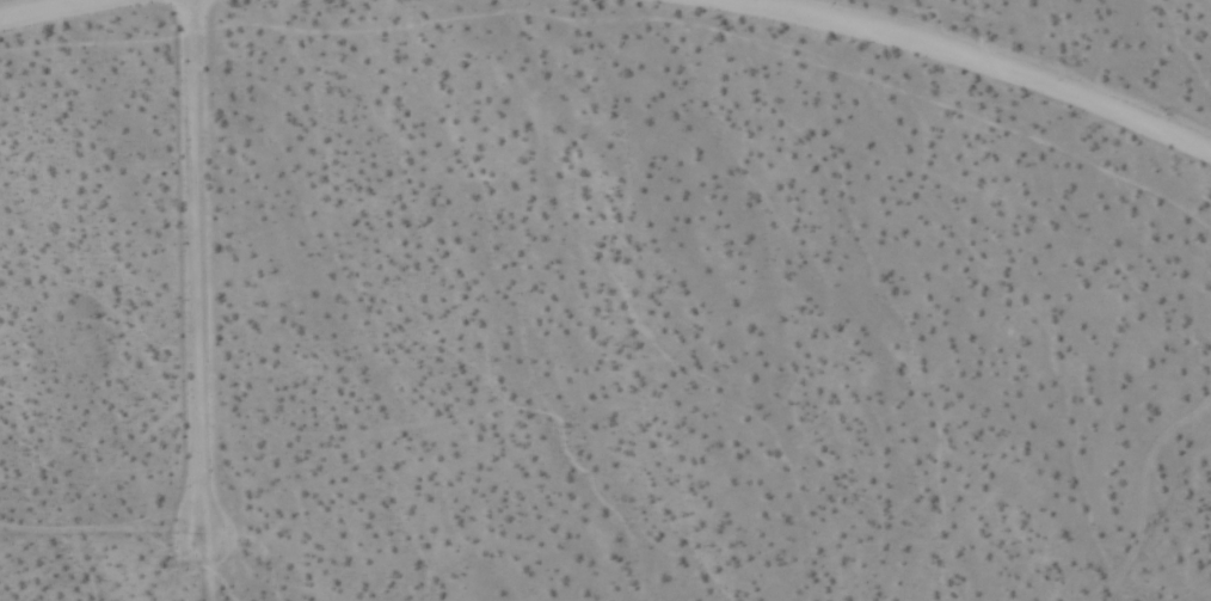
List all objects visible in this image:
road: (72, 10)
road: (943, 55)
road: (196, 284)
crop: (605, 300)

